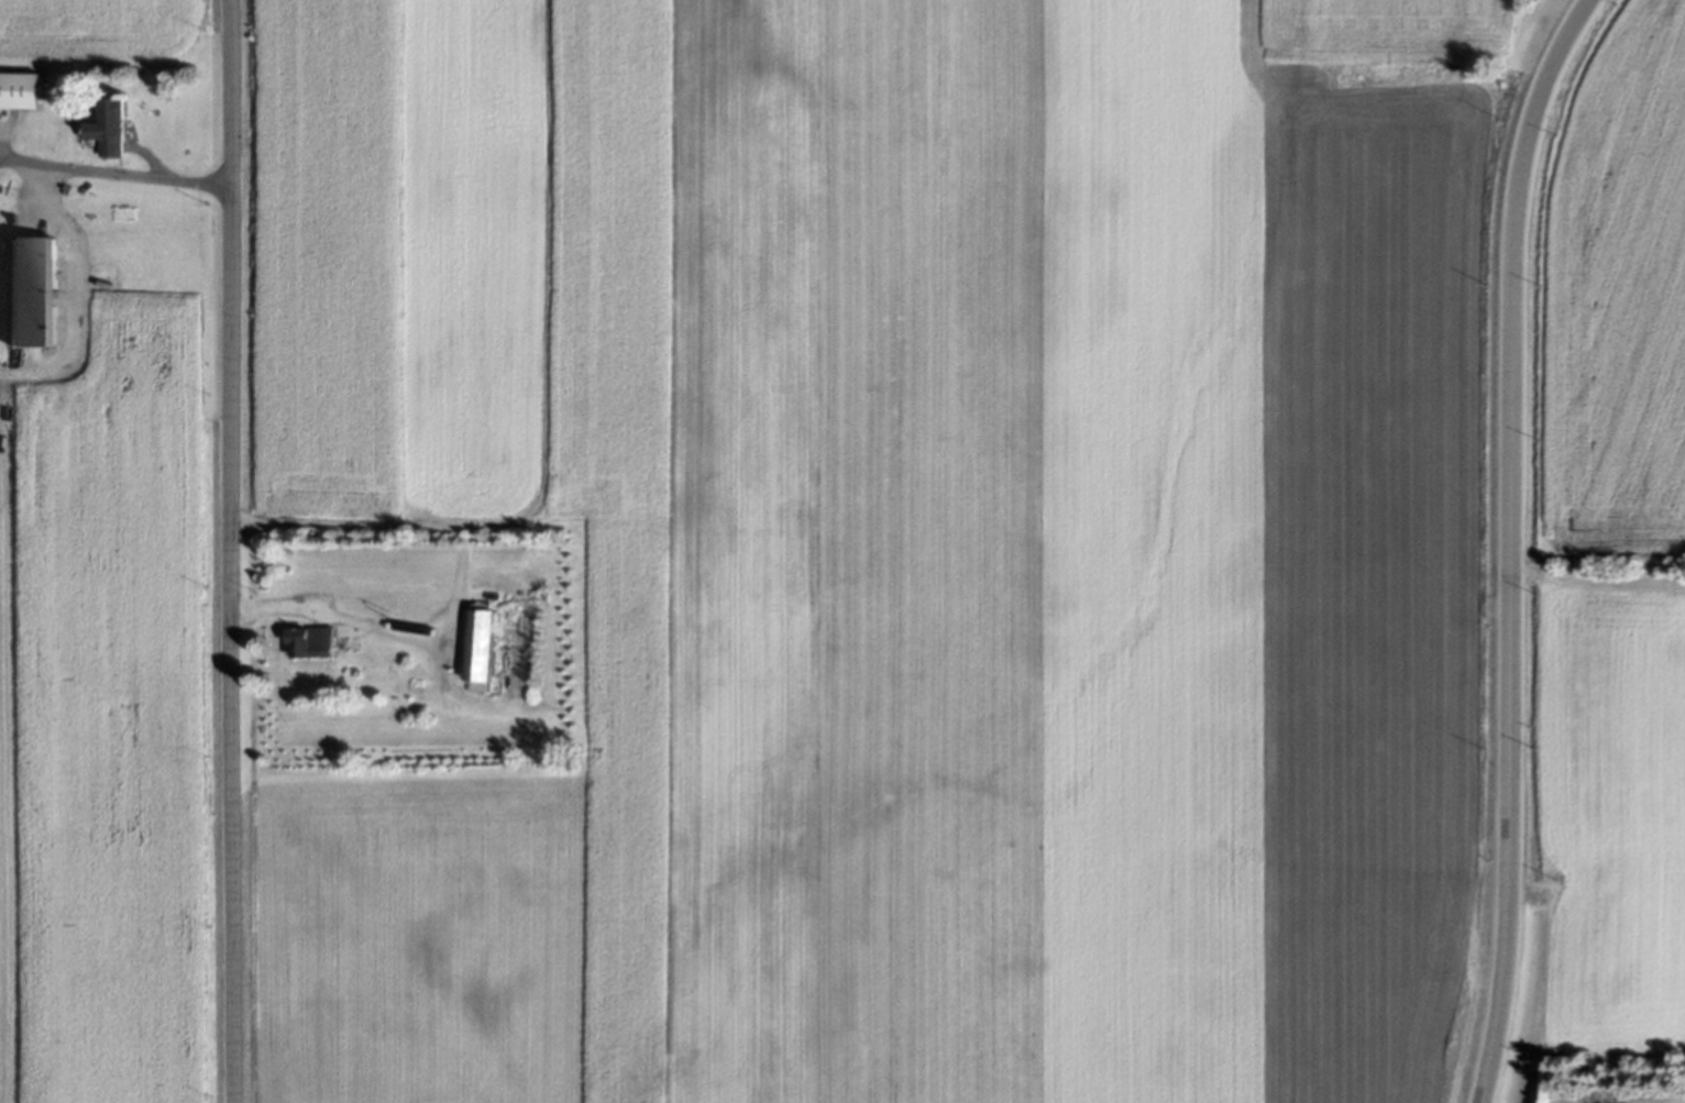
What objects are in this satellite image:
building: (20, 92)
building: (107, 130)
road: (114, 170)
road: (1511, 544)
road: (231, 551)
road: (332, 617)
building: (307, 643)
building: (477, 651)

